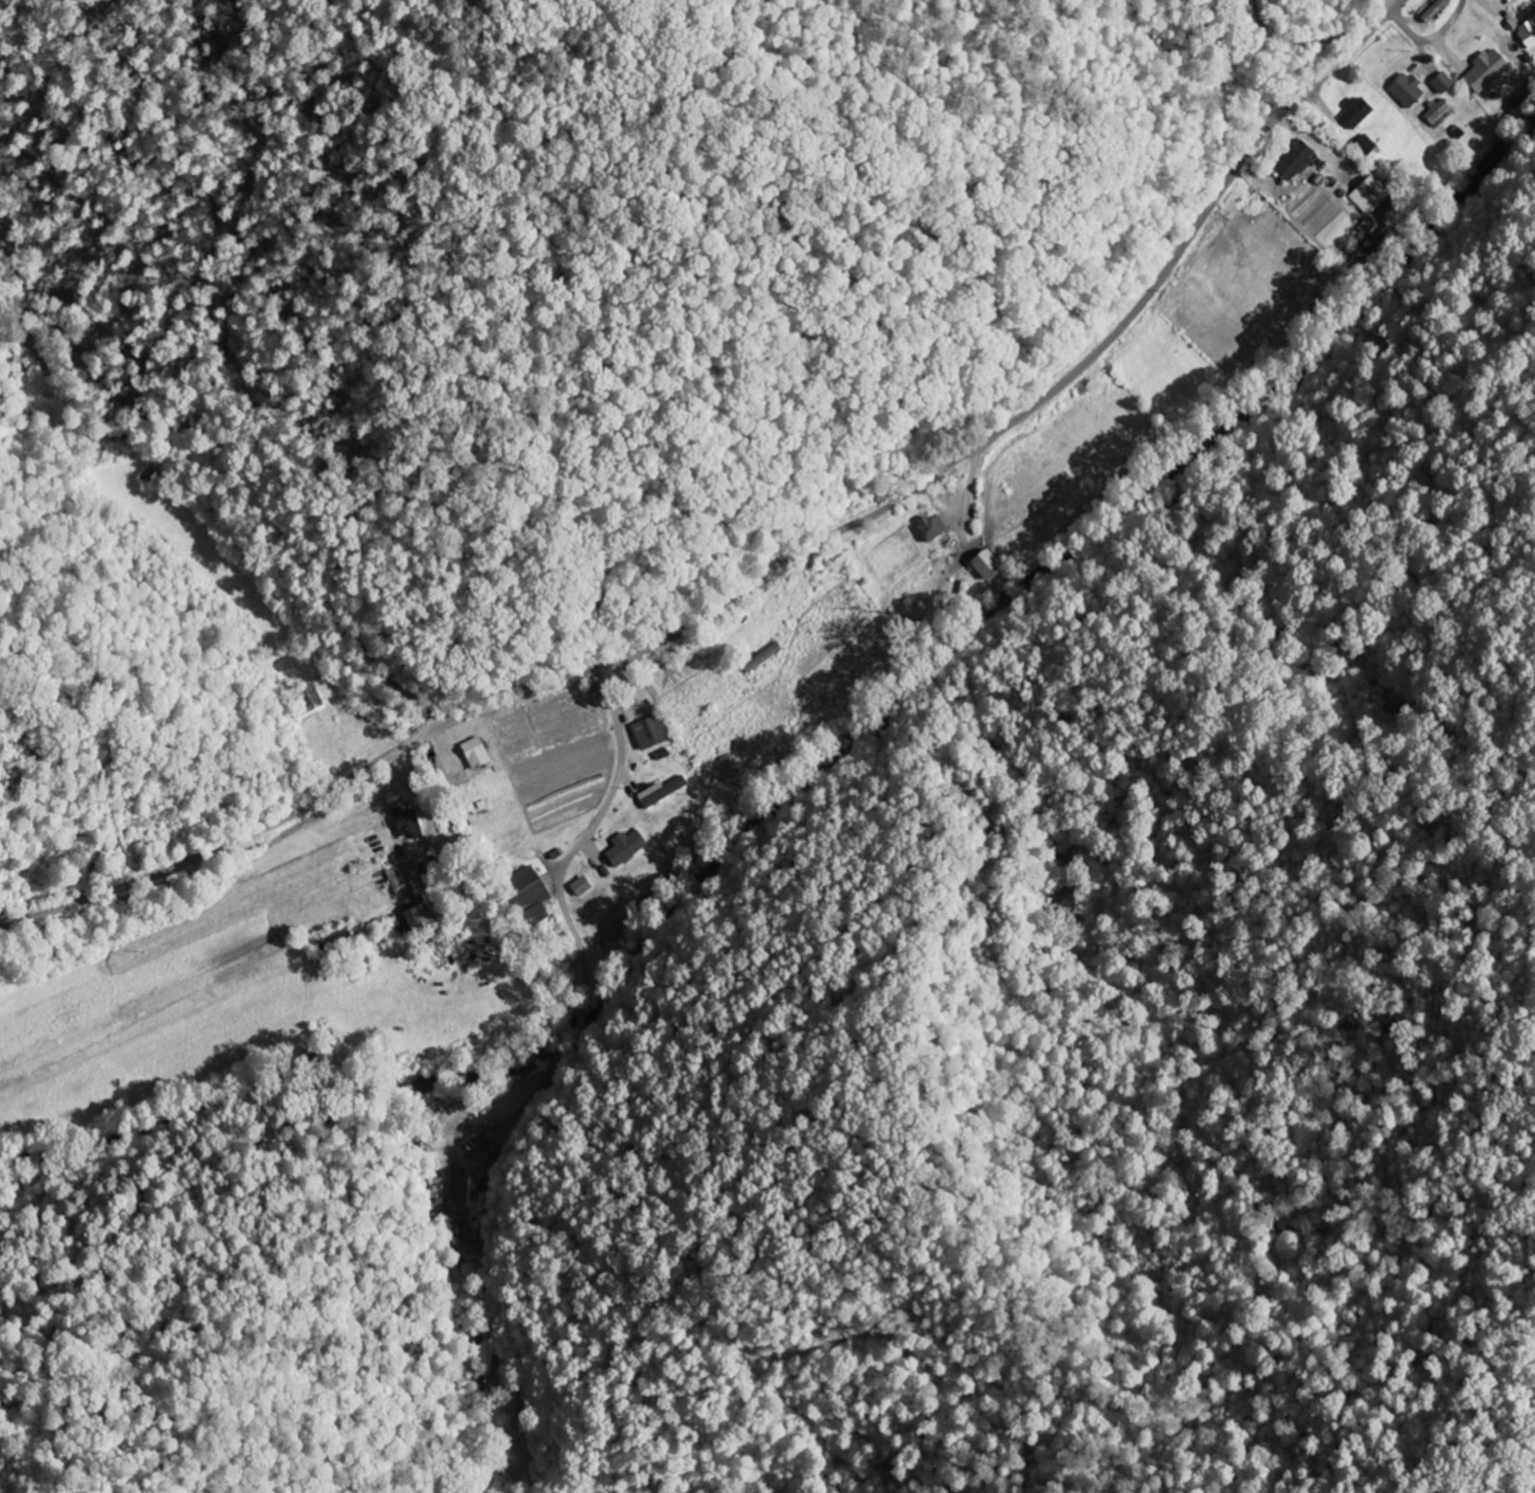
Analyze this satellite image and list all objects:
building: (1436, 10)
building: (1529, 35)
building: (1488, 72)
building: (1445, 84)
building: (1409, 90)
building: (1359, 113)
building: (1440, 113)
building: (1362, 146)
building: (1296, 161)
building: (1369, 197)
building: (934, 529)
road: (773, 567)
road: (615, 672)
building: (653, 734)
building: (479, 754)
building: (667, 793)
building: (629, 848)
road: (566, 865)
building: (584, 887)
building: (424, 920)
building: (480, 1149)

